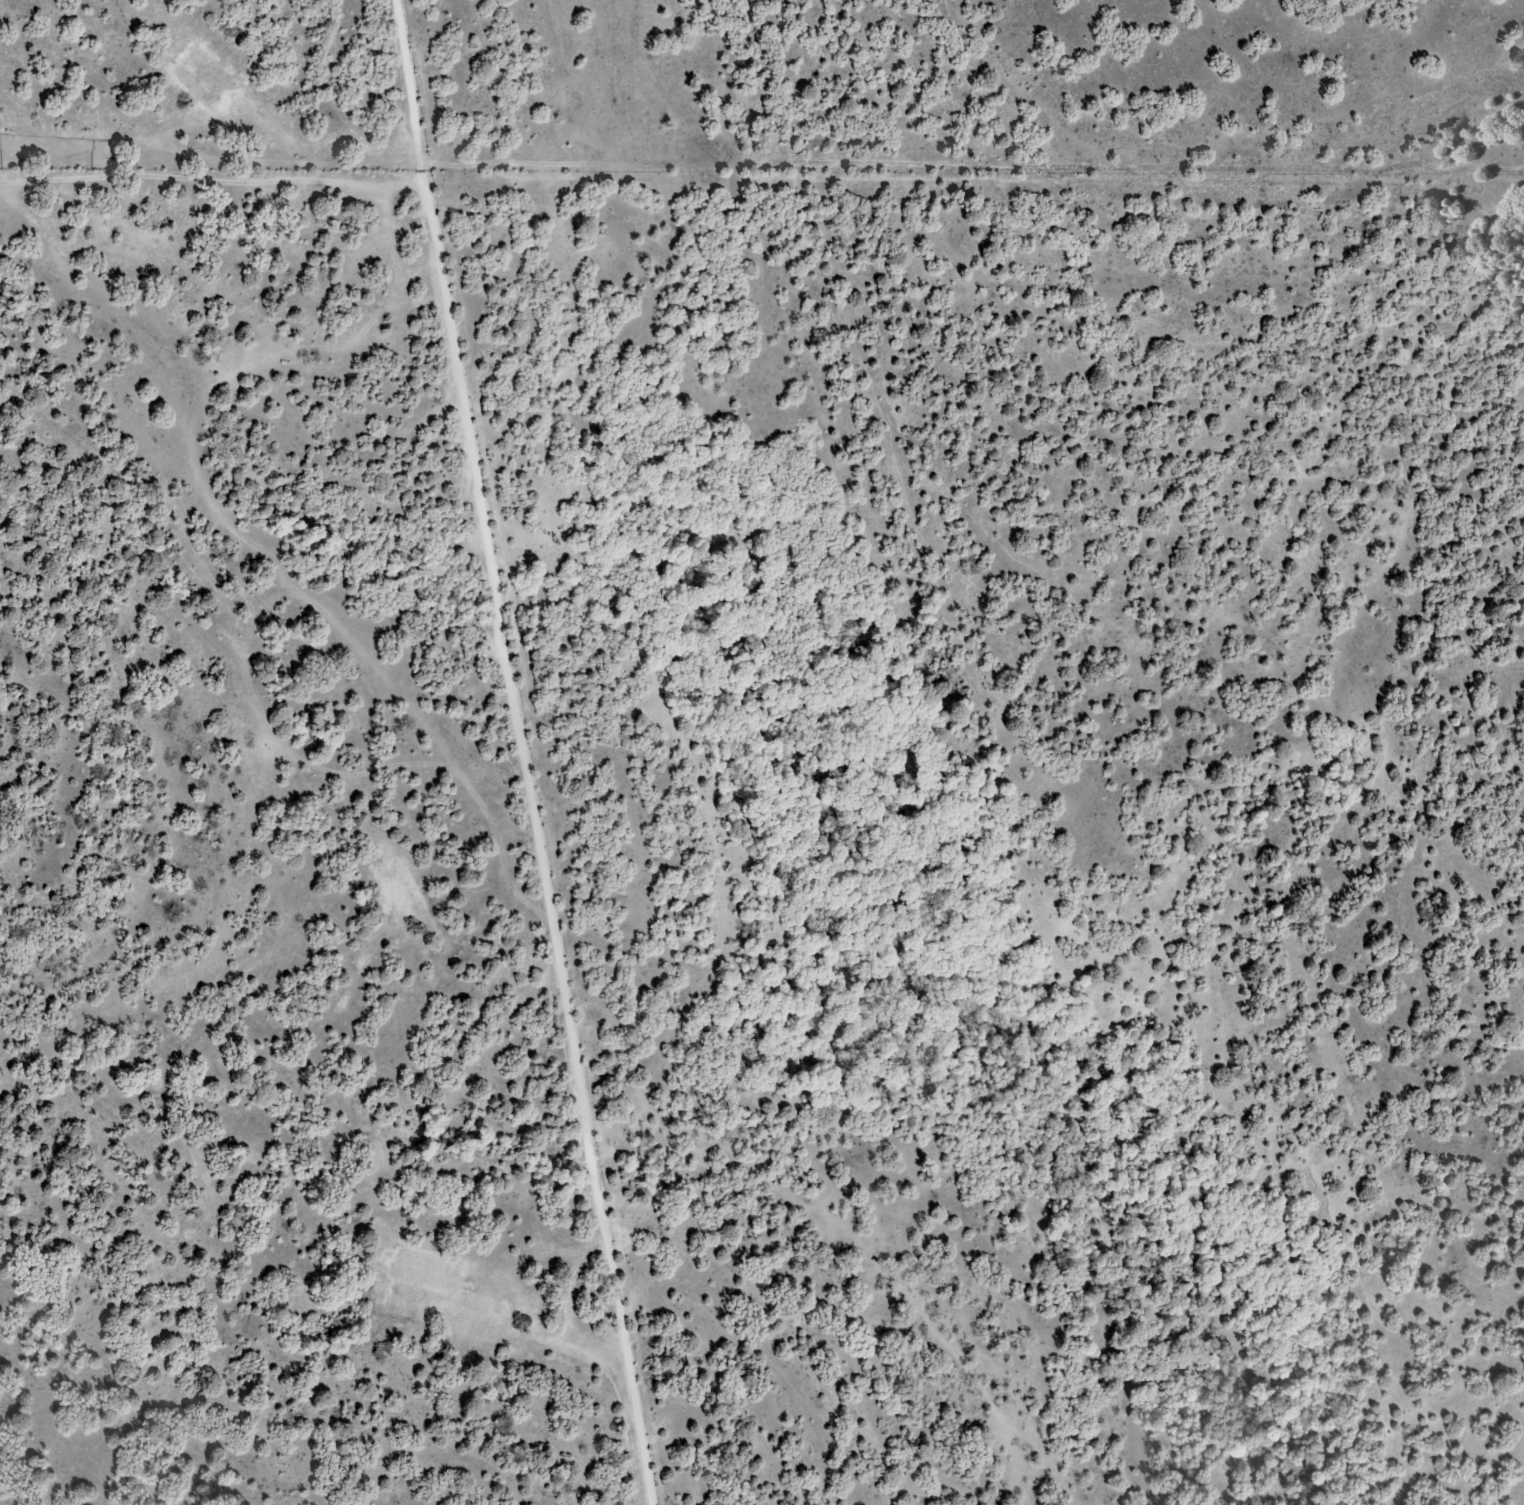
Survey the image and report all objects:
road: (507, 880)

